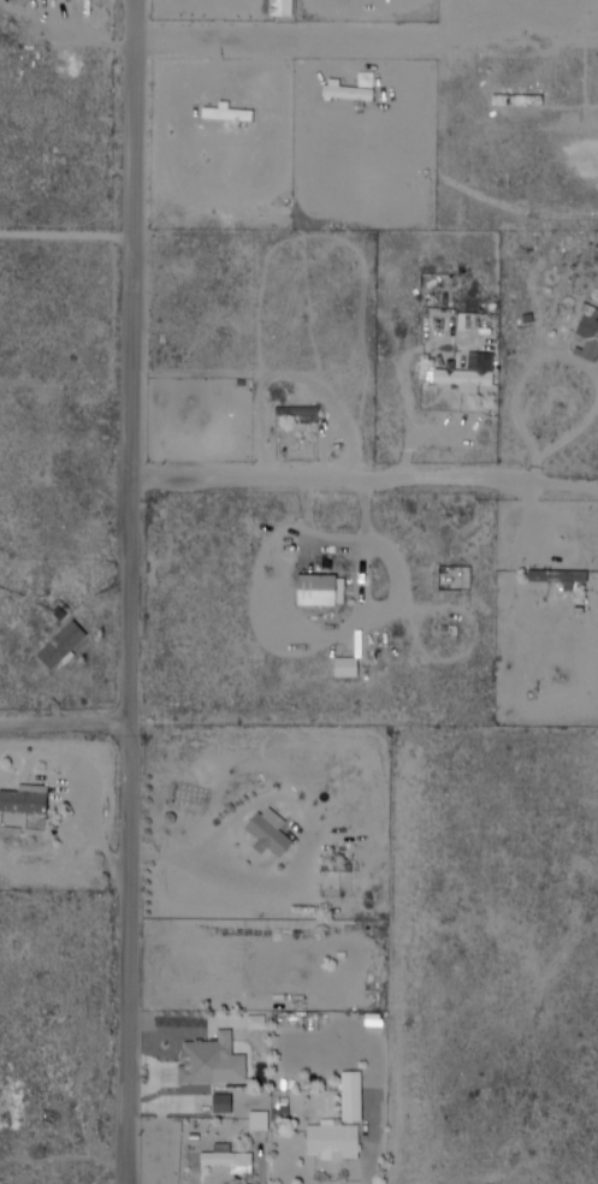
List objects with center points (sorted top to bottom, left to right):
road: (249, 39)
building: (587, 332)
building: (476, 375)
building: (208, 410)
building: (307, 414)
road: (341, 480)
building: (564, 576)
building: (461, 580)
building: (325, 588)
road: (141, 592)
building: (70, 646)
building: (343, 667)
road: (70, 723)
building: (185, 795)
building: (30, 801)
building: (272, 831)
building: (218, 1060)
building: (356, 1095)
building: (219, 1105)
building: (336, 1142)
building: (229, 1155)

